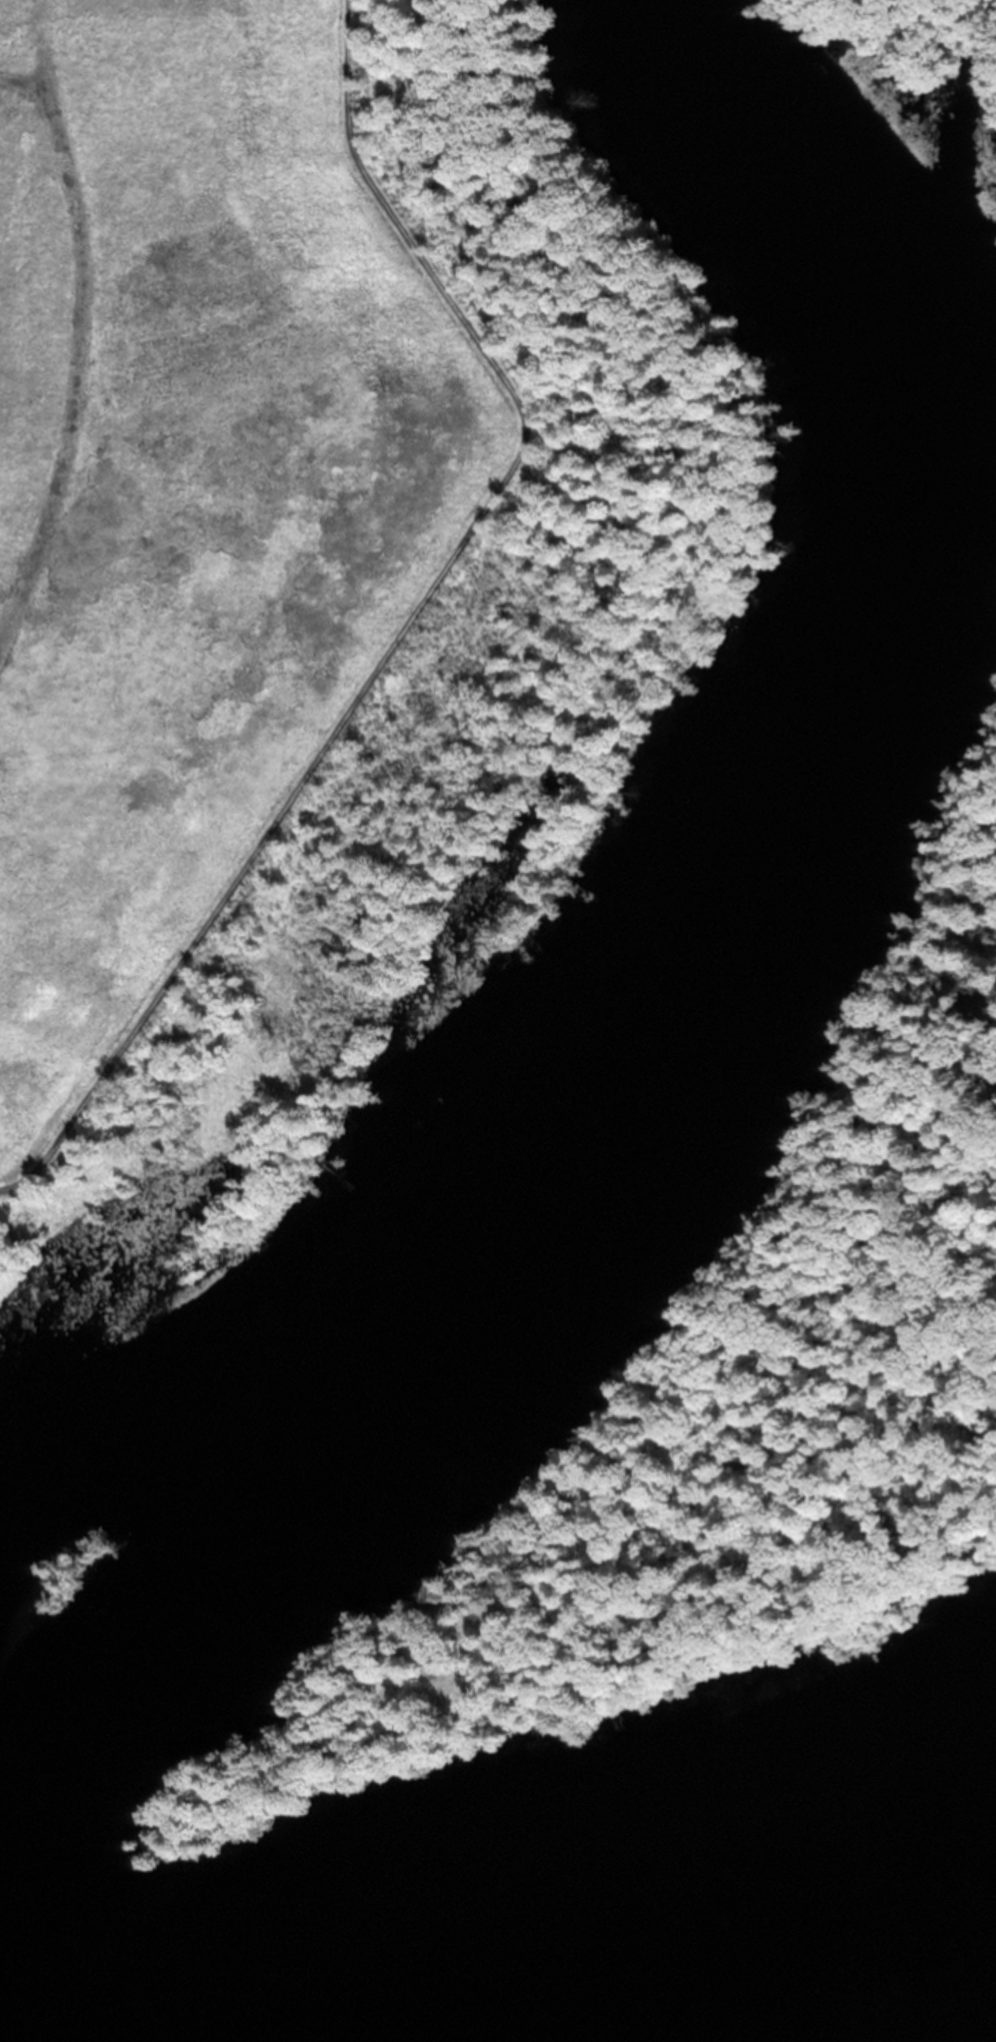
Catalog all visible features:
river: (875, 1994)

